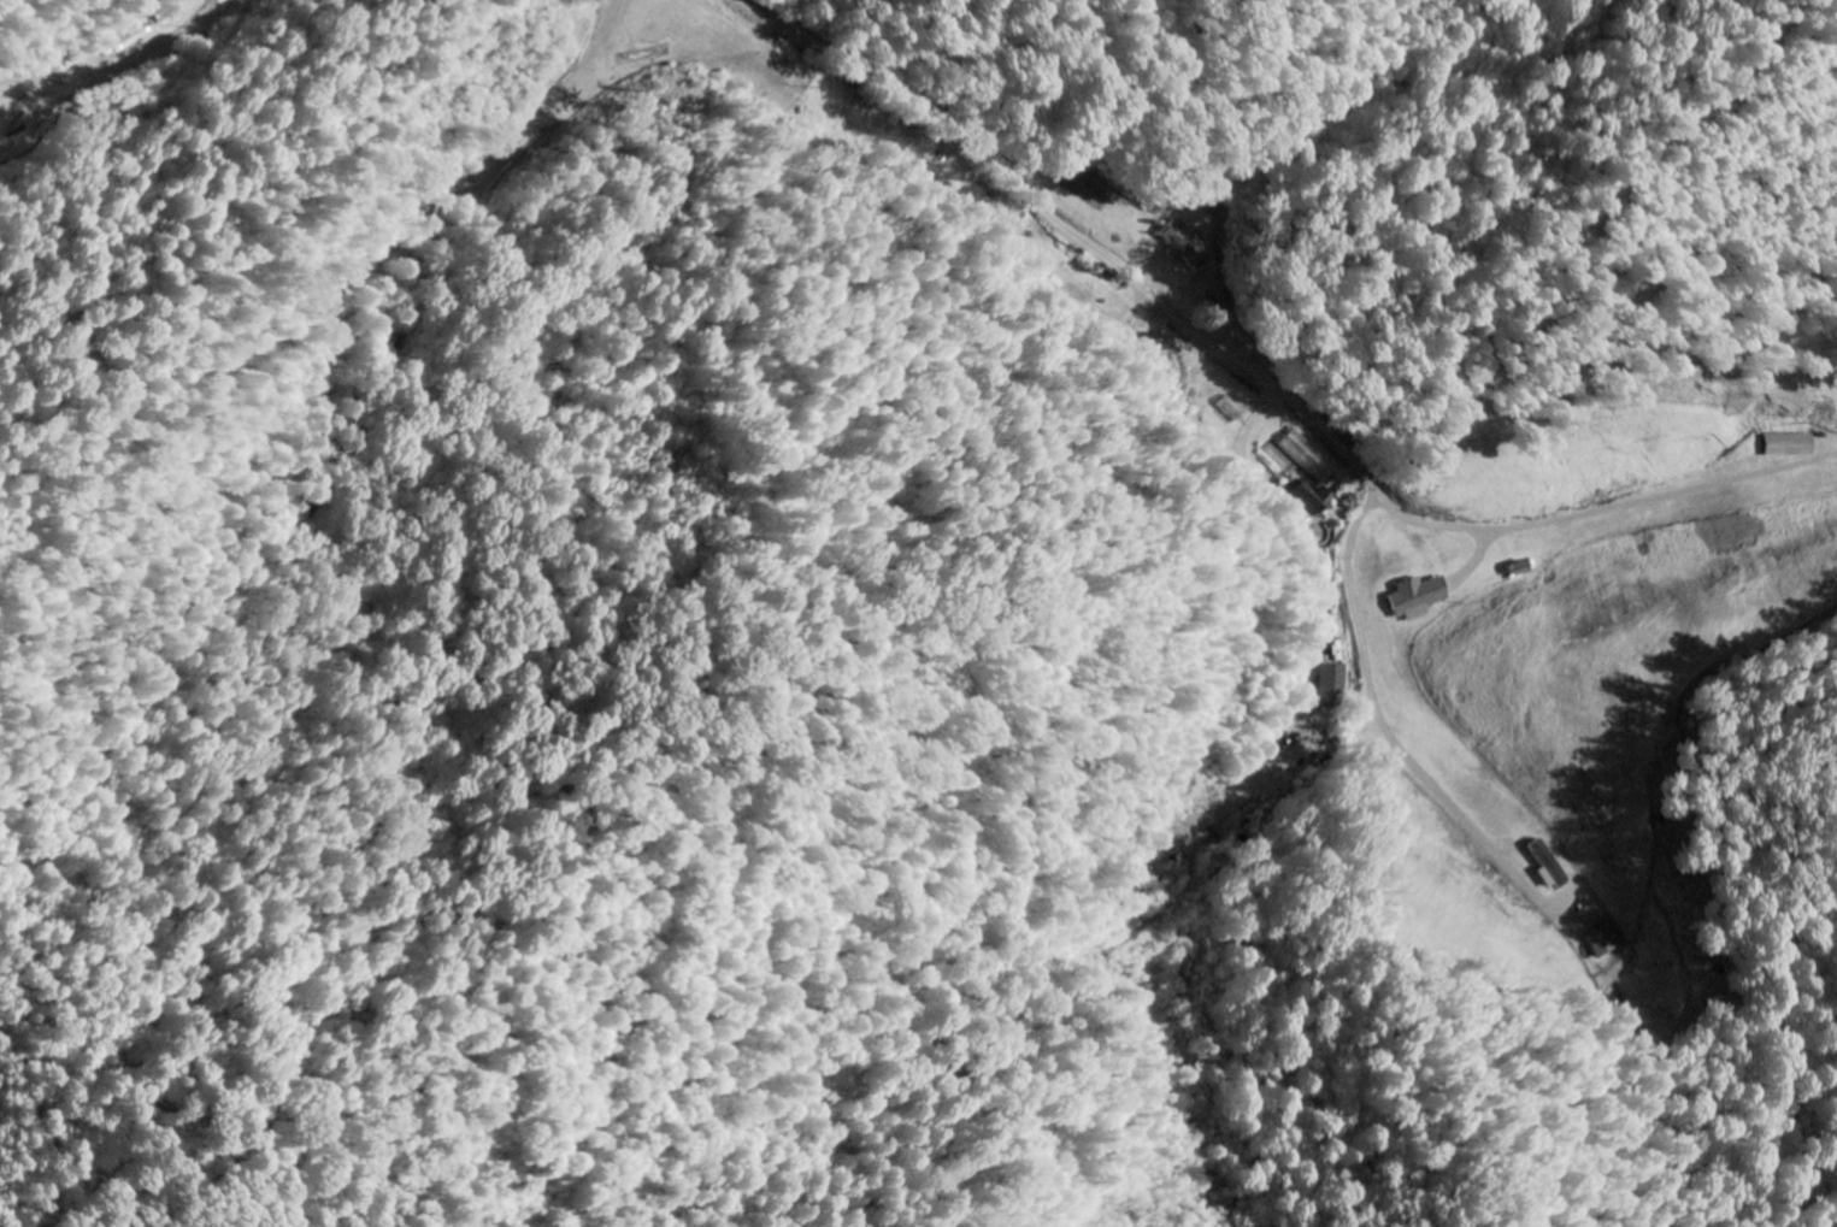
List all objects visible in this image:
building: (646, 55)
road: (136, 64)
road: (967, 102)
building: (1188, 247)
building: (1791, 447)
building: (1311, 456)
building: (1315, 500)
building: (1420, 600)
building: (1331, 685)
building: (1612, 940)

